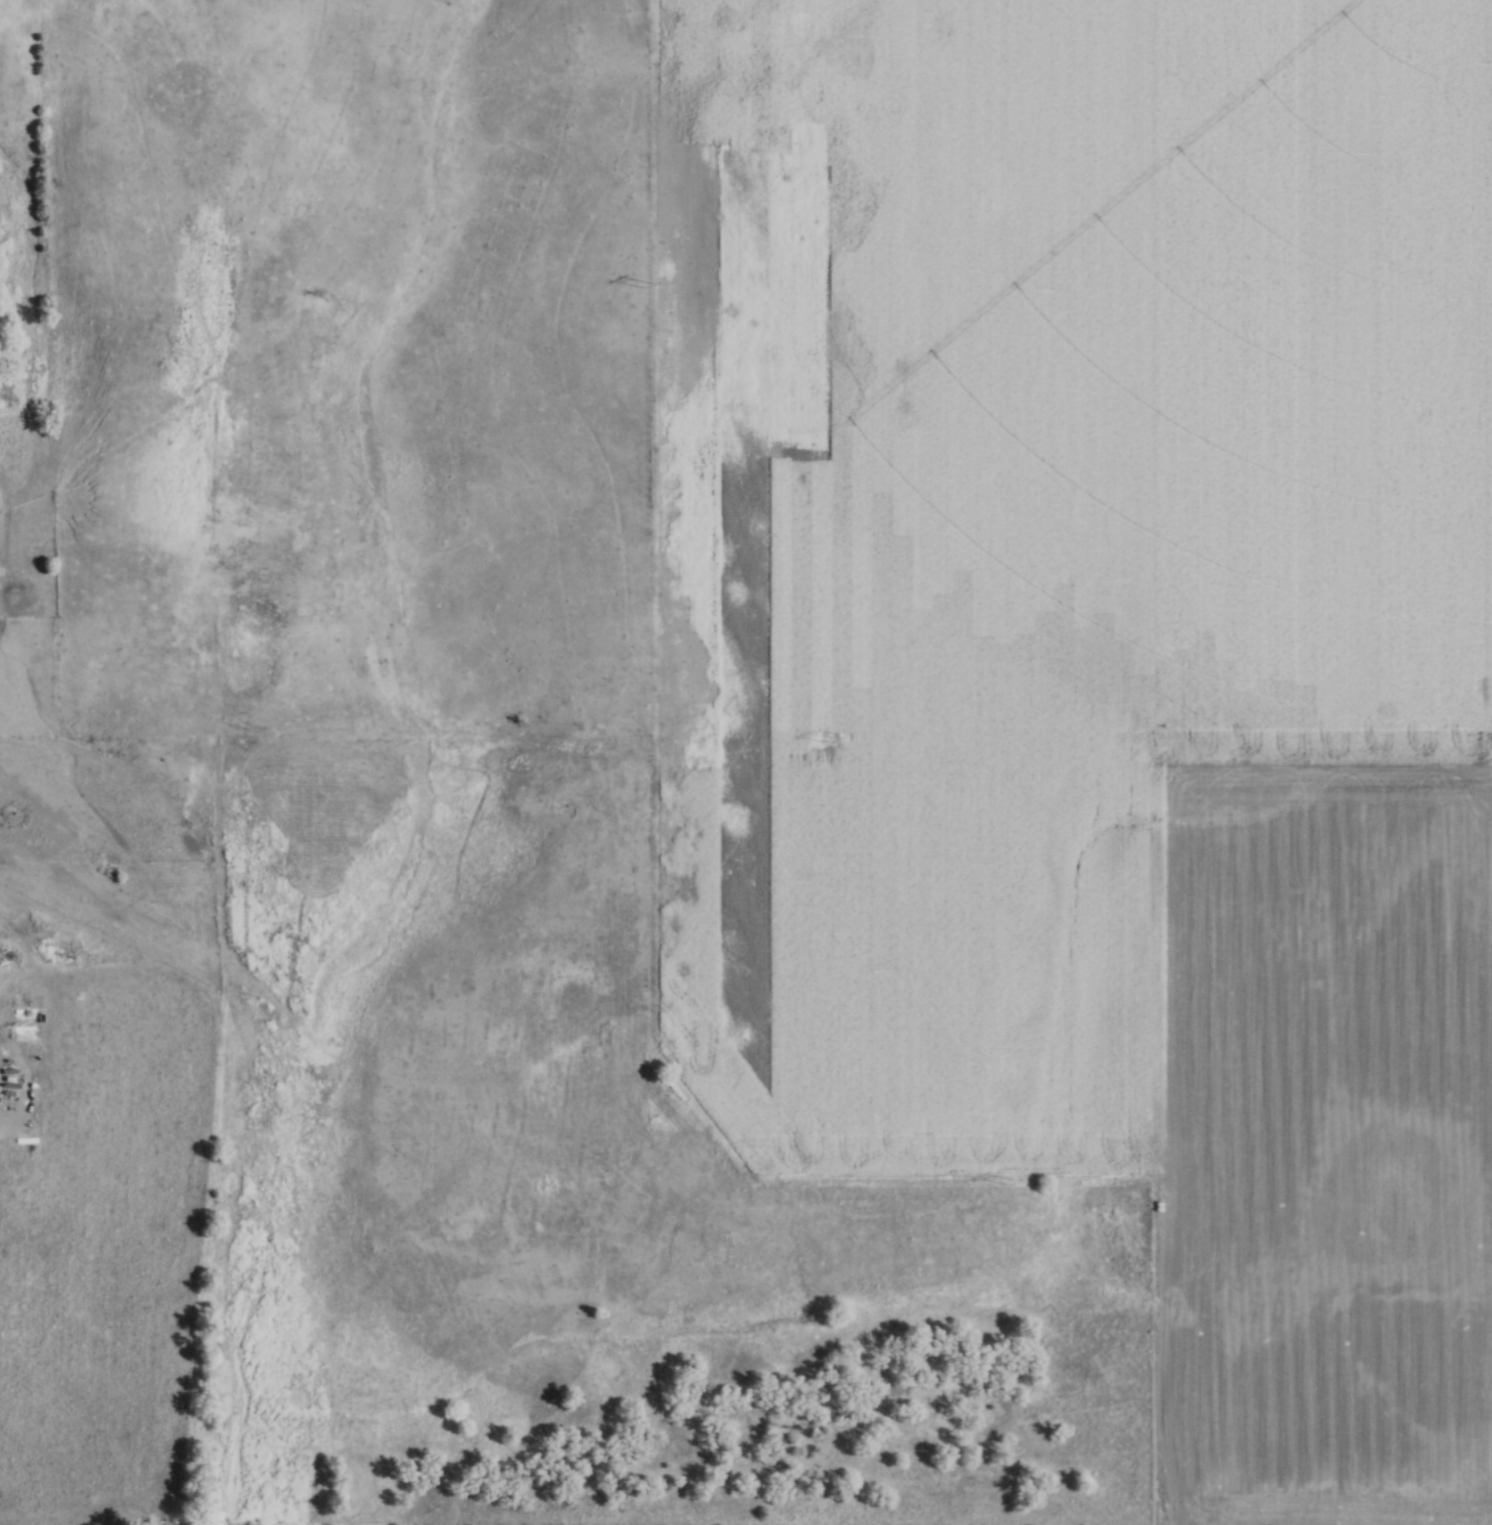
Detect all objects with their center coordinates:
power tower: (644, 286)
power tower: (827, 739)
power tower: (1006, 1182)

